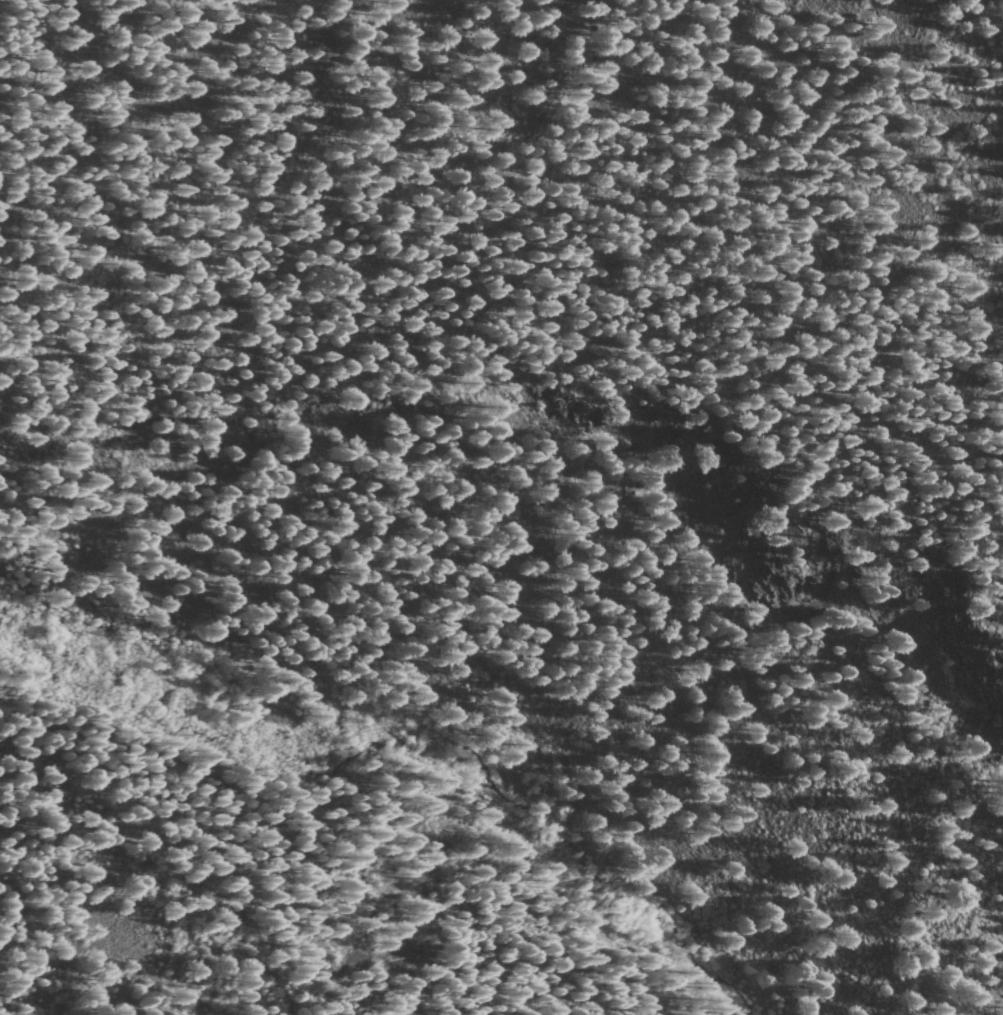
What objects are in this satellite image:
road: (131, 588)
road: (614, 718)

